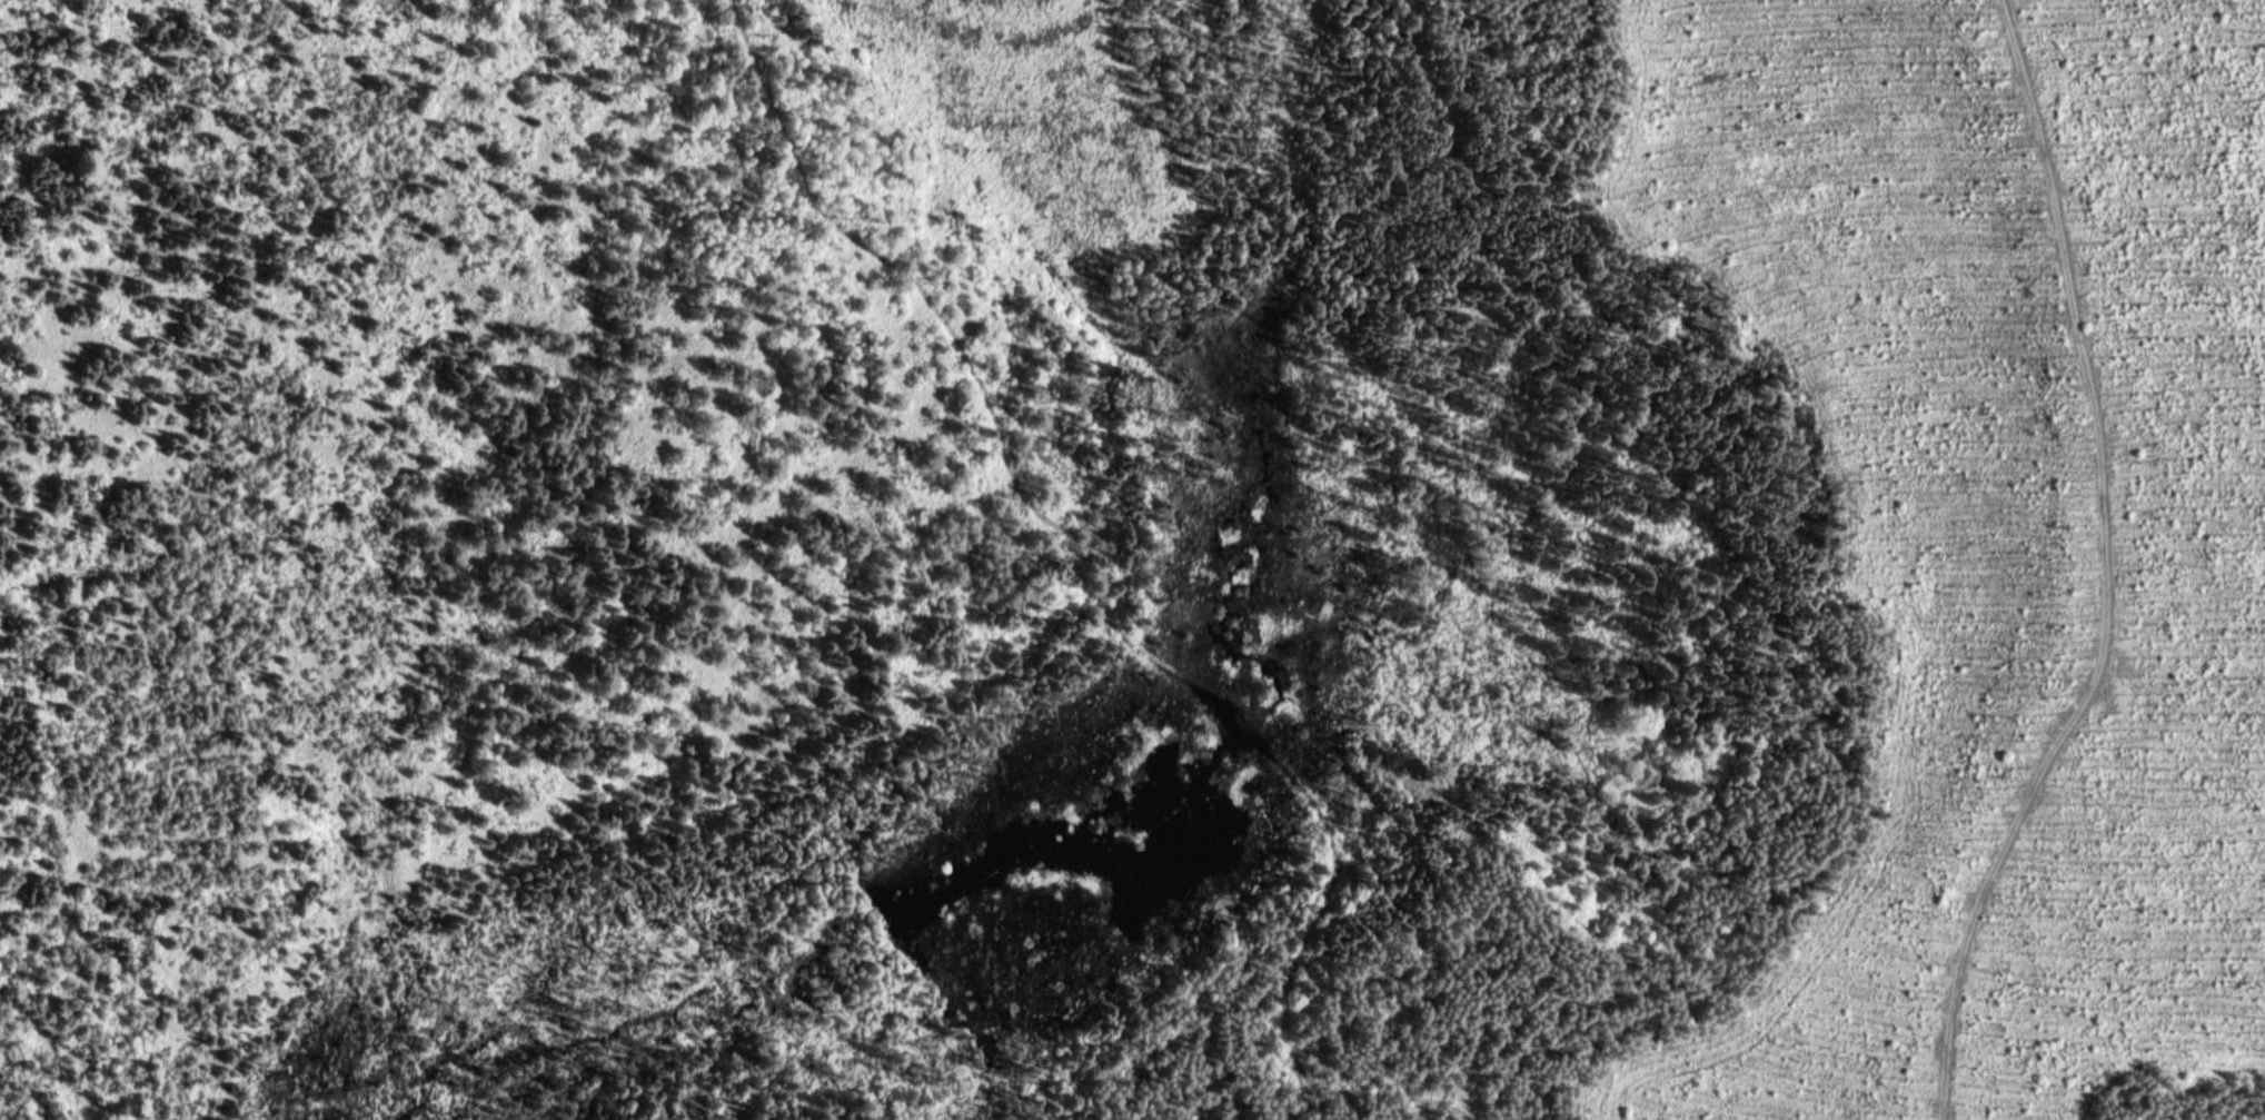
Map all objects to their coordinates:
road: (2107, 571)
road: (1107, 615)

